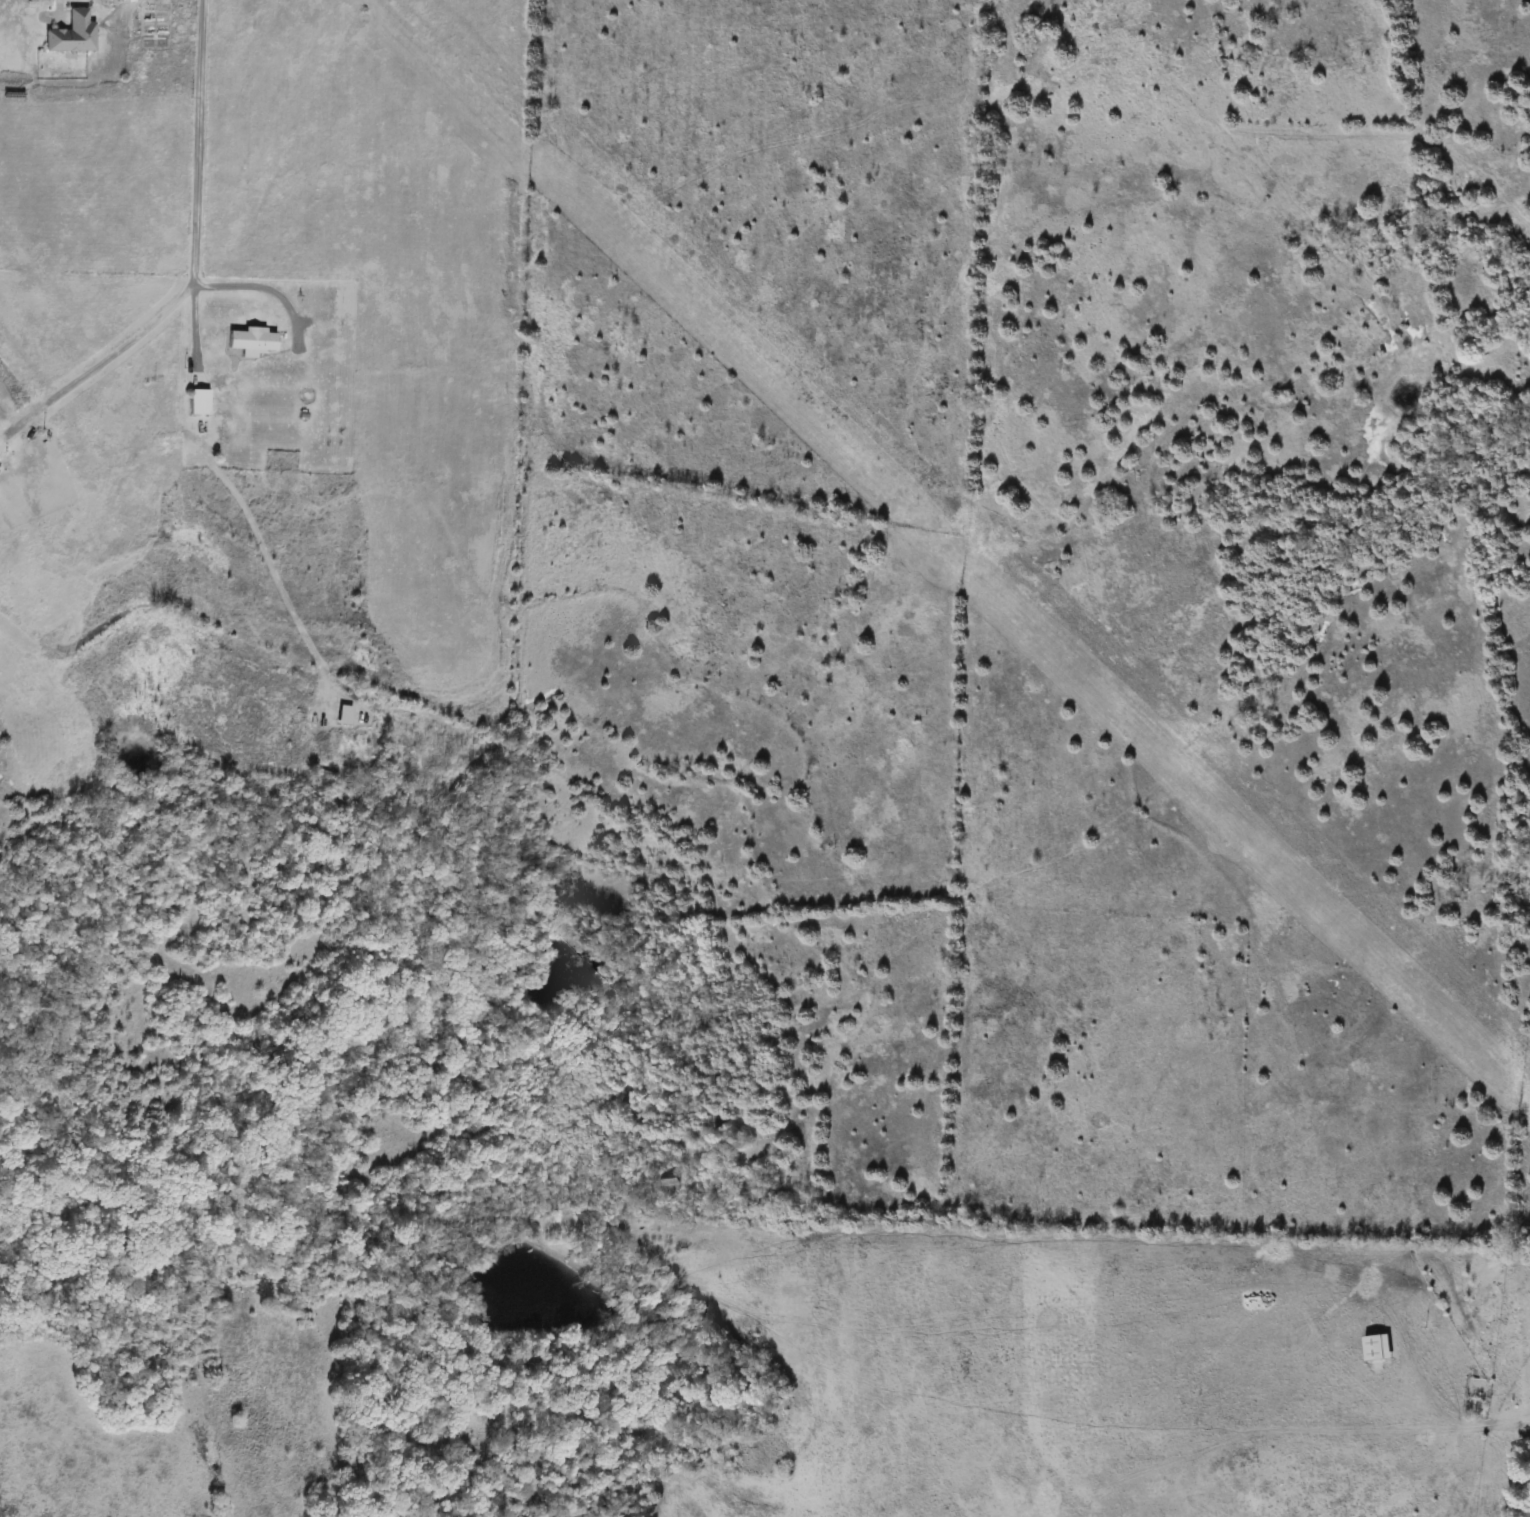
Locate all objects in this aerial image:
road: (194, 263)
road: (264, 288)
building: (252, 343)
building: (199, 402)
building: (670, 1183)
building: (1378, 1349)
road: (1521, 1418)

